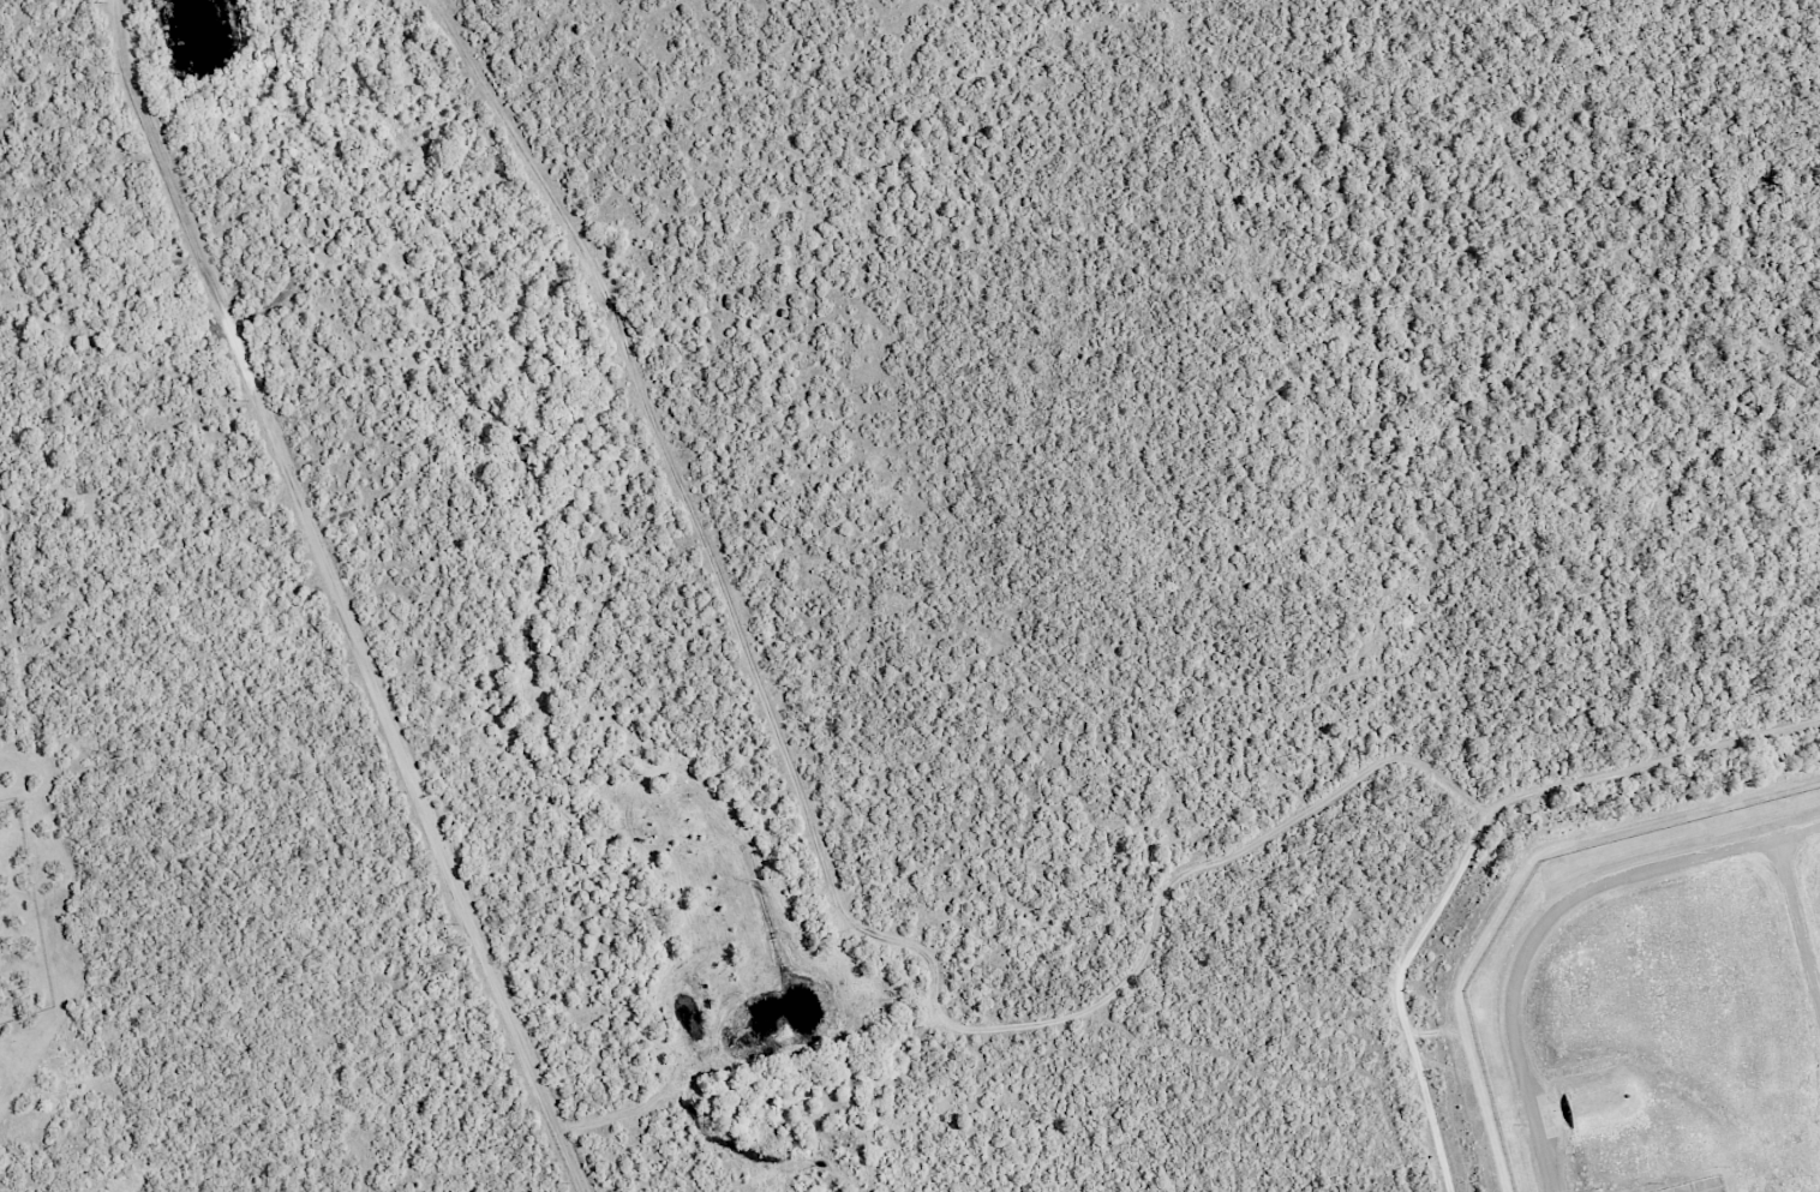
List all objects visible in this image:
road: (699, 523)
road: (337, 599)
road: (1696, 859)
road: (1798, 921)
road: (1082, 1014)
road: (1514, 1036)

